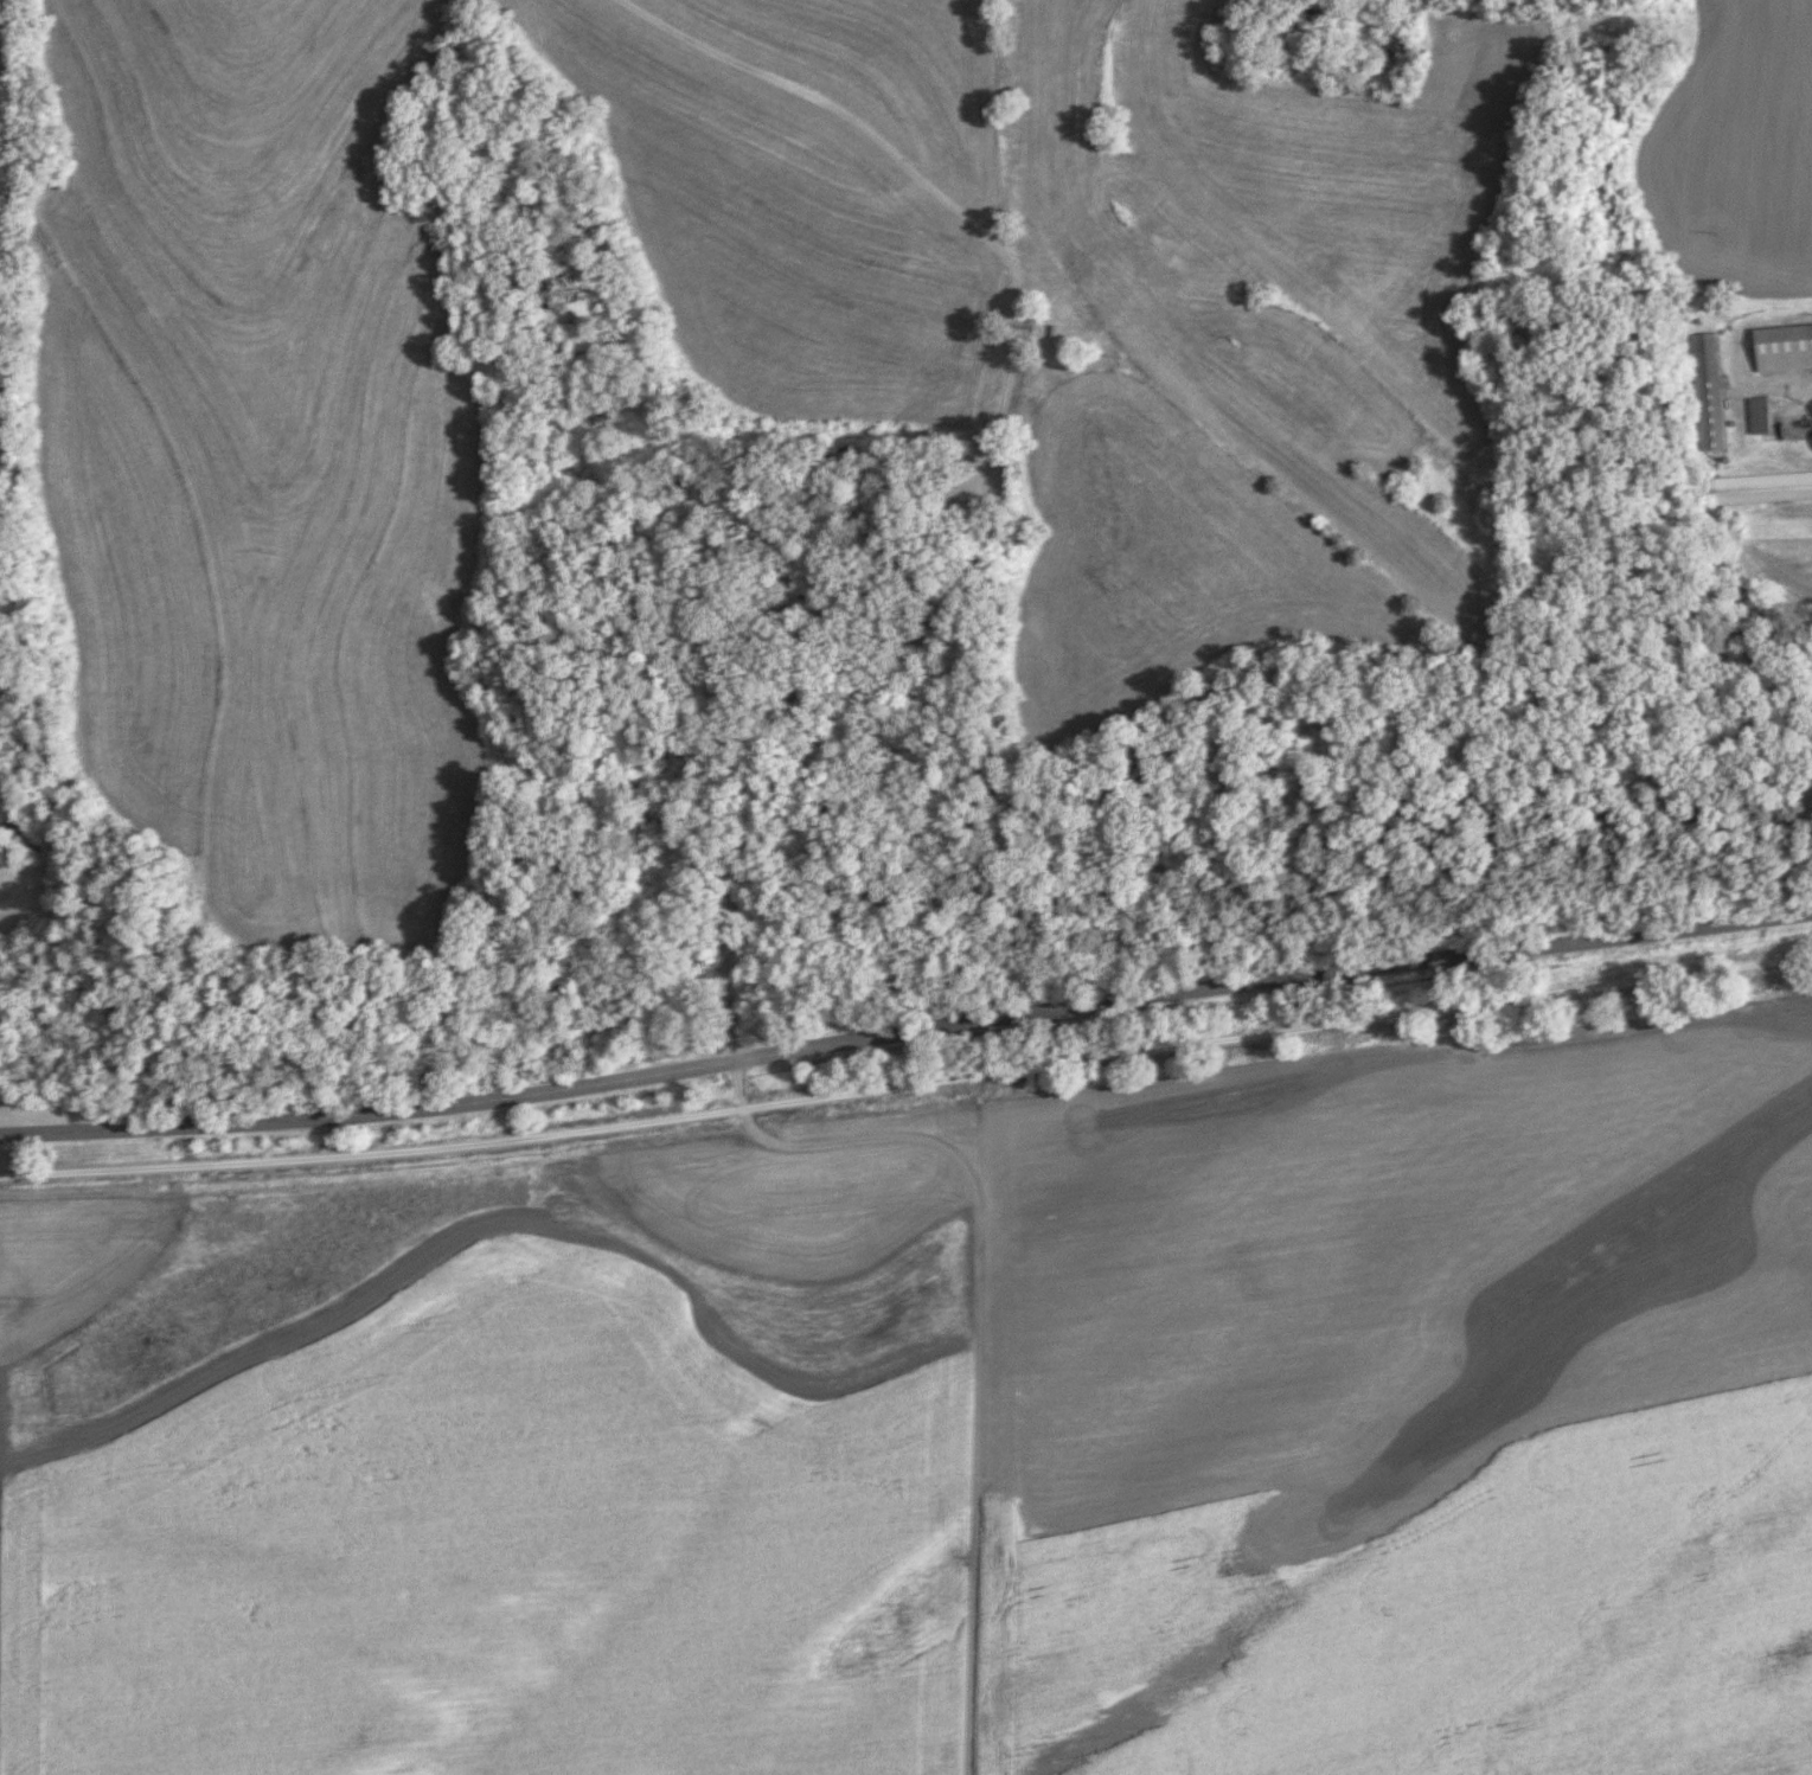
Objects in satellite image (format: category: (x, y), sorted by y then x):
building: (1044, 25)
building: (1041, 95)
building: (1108, 300)
building: (1063, 319)
building: (1784, 347)
road: (1771, 385)
building: (1709, 391)
building: (1760, 415)
building: (1761, 487)
road: (1806, 507)
road: (871, 680)
road: (905, 1030)
road: (908, 1085)

